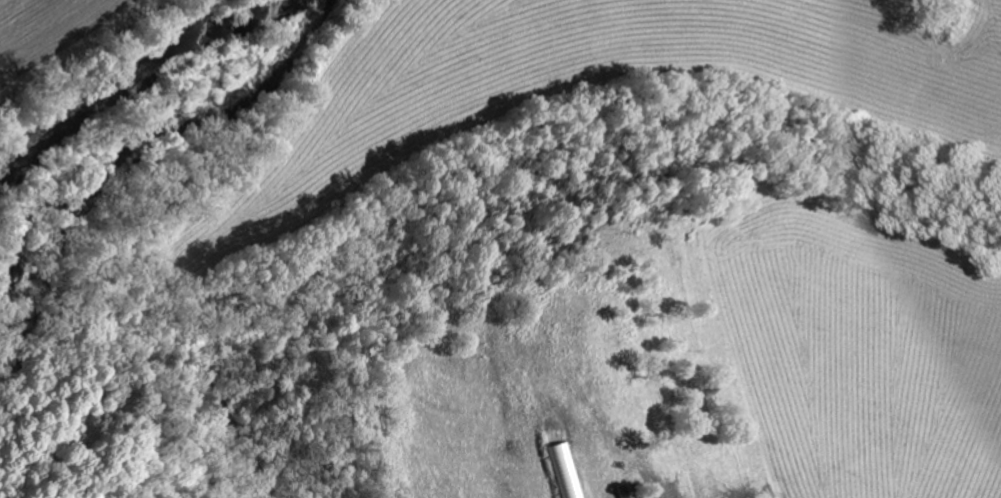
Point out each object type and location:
building: (567, 470)

